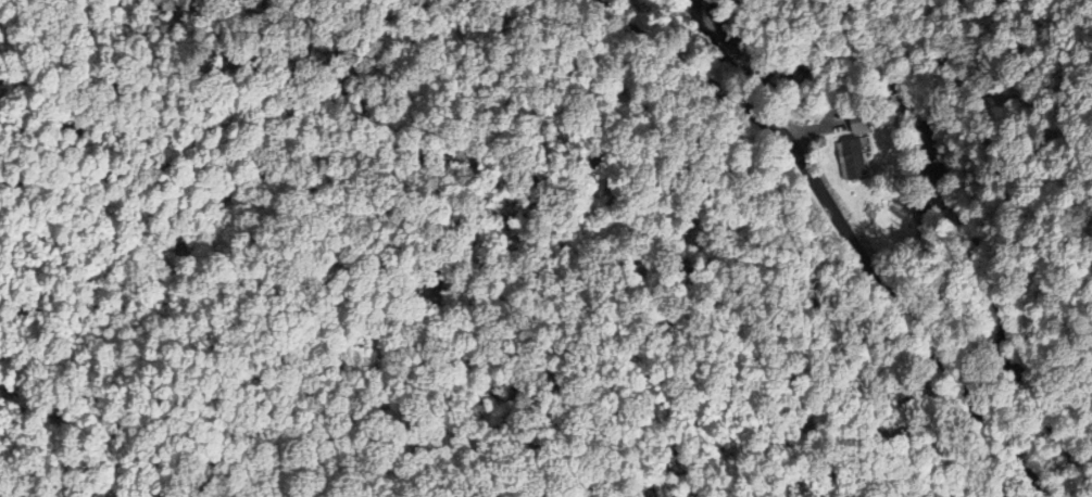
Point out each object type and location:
building: (859, 122)
building: (852, 158)
road: (839, 227)

